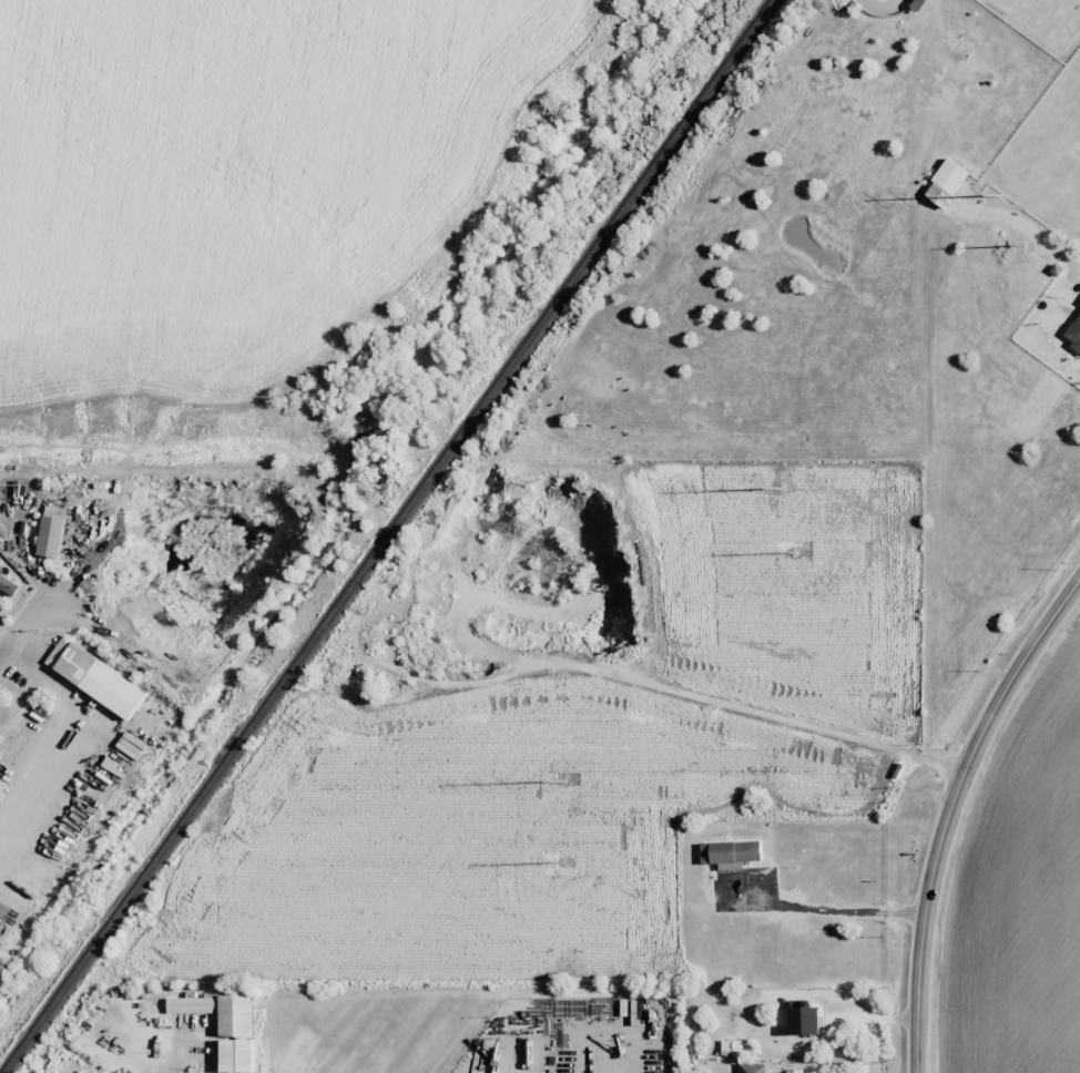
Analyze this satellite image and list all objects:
building: (927, 132)
crop: (234, 178)
building: (944, 184)
power tower: (1000, 195)
power tower: (1026, 245)
power tower: (782, 489)
building: (49, 532)
railway: (385, 535)
power tower: (793, 551)
road: (10, 633)
road: (24, 636)
building: (104, 682)
power tower: (562, 780)
road: (949, 809)
building: (740, 854)
power tower: (561, 861)
crop: (1020, 908)
building: (241, 1021)
building: (809, 1023)
building: (750, 1069)

